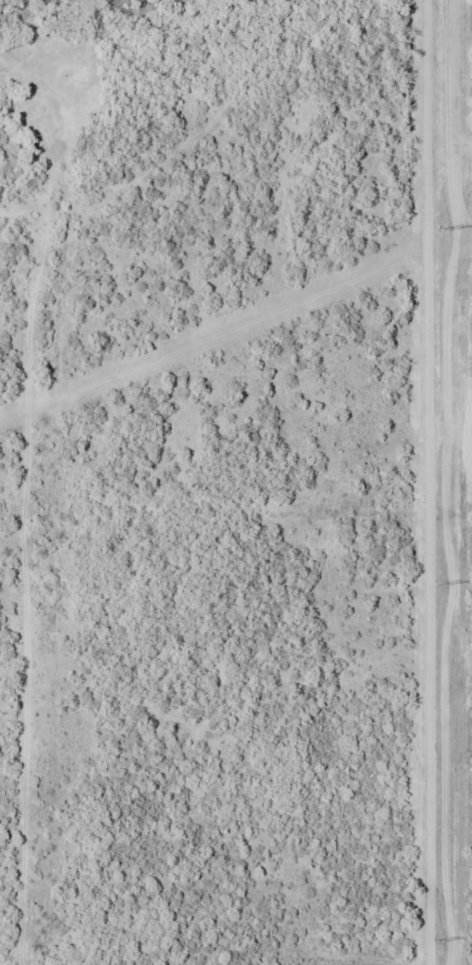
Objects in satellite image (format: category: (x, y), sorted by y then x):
power tower: (442, 231)
power tower: (440, 586)
power tower: (437, 942)

